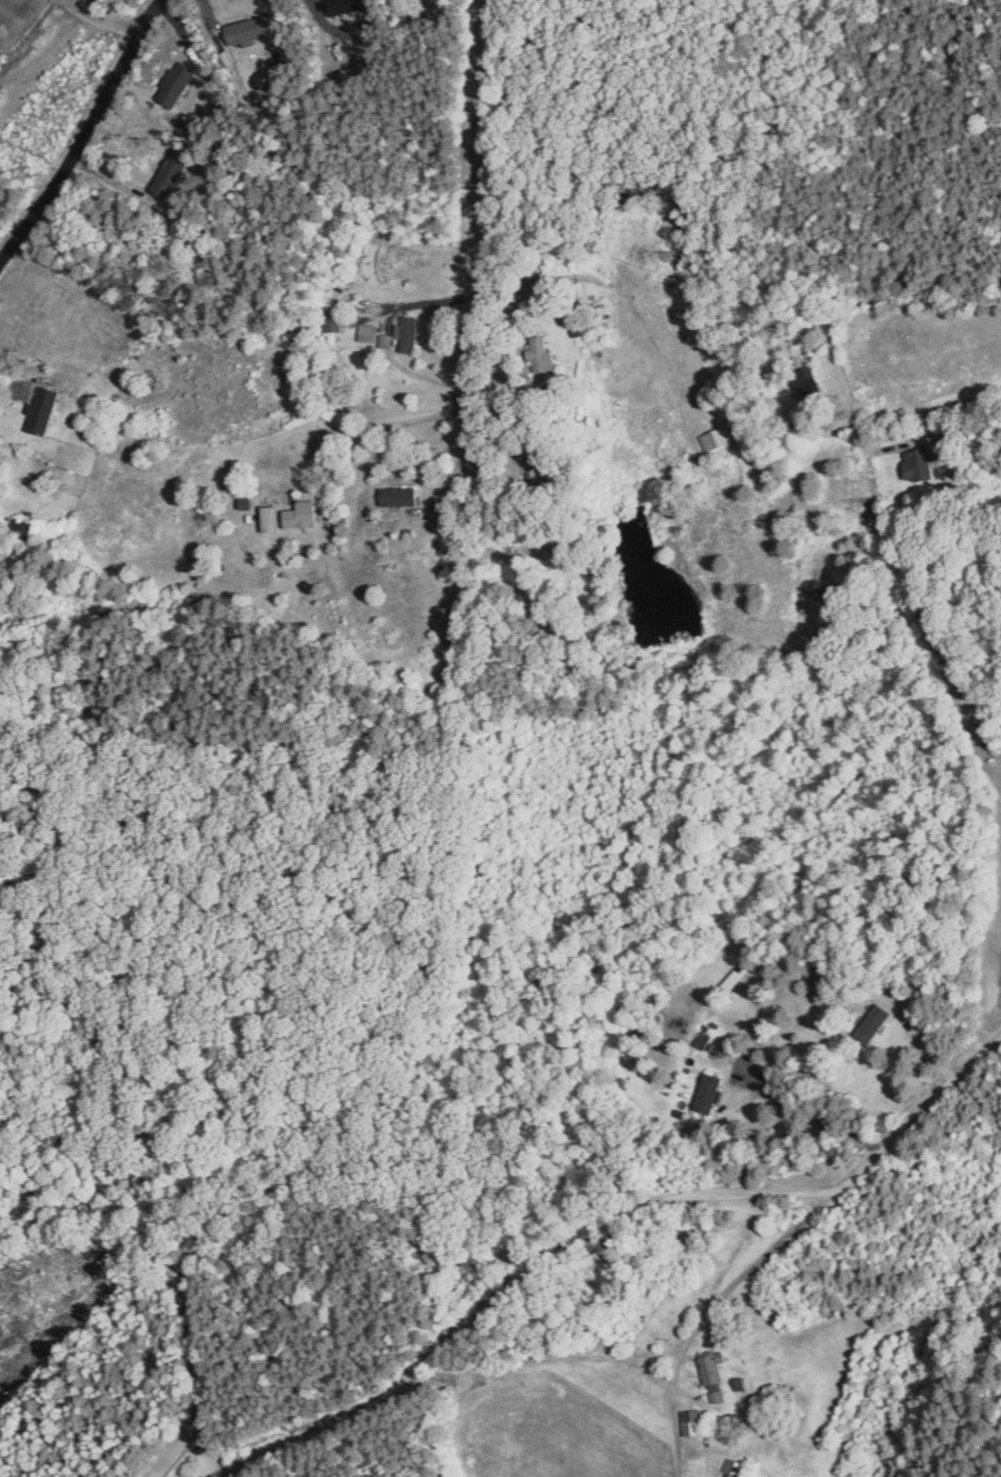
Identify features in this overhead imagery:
building: (252, 28)
road: (87, 135)
road: (477, 245)
road: (873, 299)
road: (421, 300)
building: (577, 323)
building: (333, 327)
building: (367, 331)
building: (408, 332)
building: (274, 333)
building: (385, 338)
building: (542, 354)
road: (13, 381)
building: (806, 384)
road: (957, 401)
building: (44, 409)
building: (714, 437)
road: (460, 463)
building: (918, 463)
building: (244, 493)
building: (400, 495)
building: (302, 513)
building: (270, 517)
building: (22, 529)
building: (873, 1023)
building: (703, 1038)
building: (709, 1092)
road: (808, 1113)
road: (839, 1188)
road: (734, 1282)
road: (431, 1354)
building: (715, 1373)
building: (691, 1421)
building: (734, 1466)

